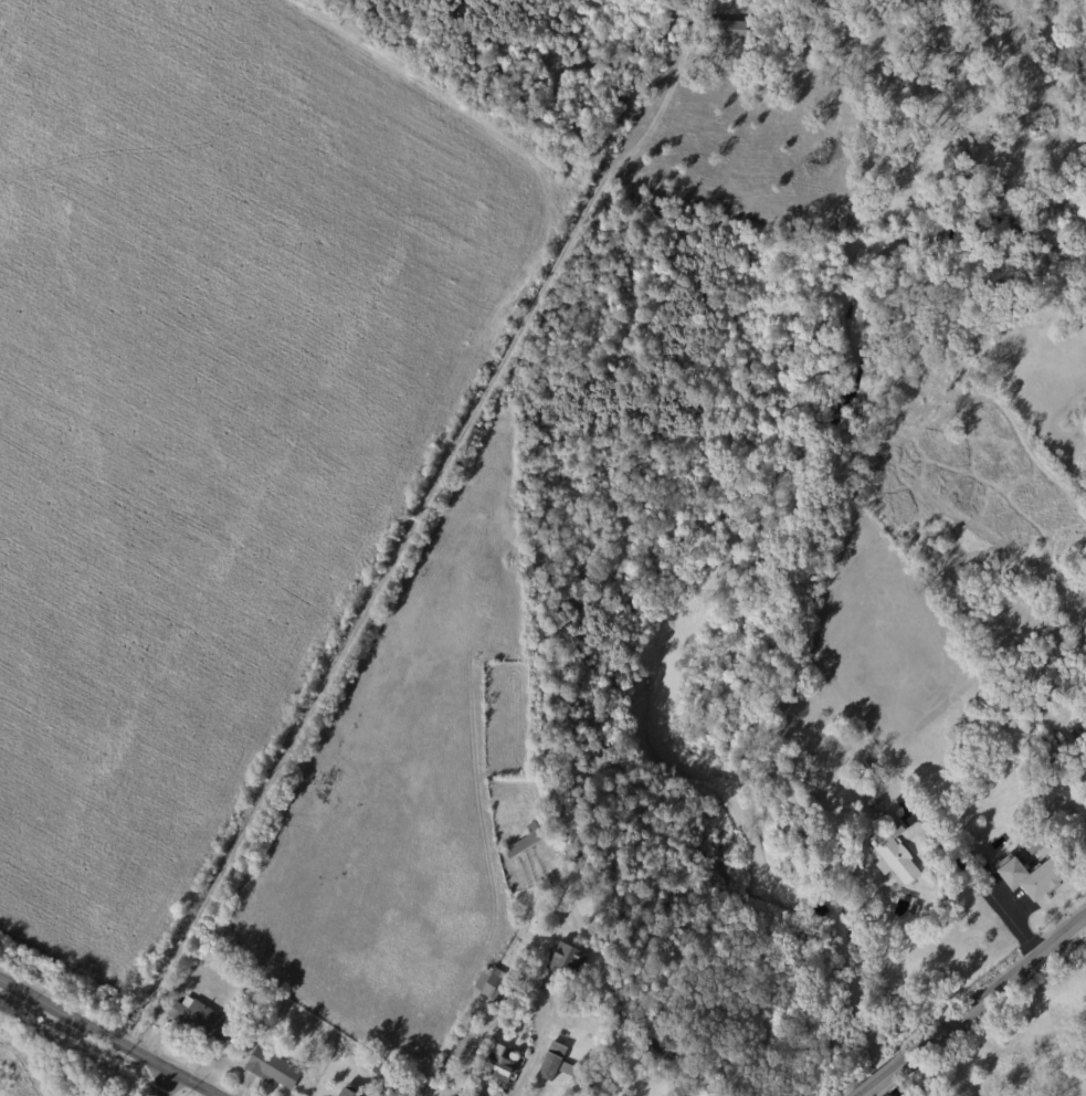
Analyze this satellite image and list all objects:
building: (727, 29)
building: (742, 55)
crop: (205, 402)
building: (1059, 767)
building: (872, 799)
building: (858, 826)
building: (1024, 831)
building: (523, 843)
building: (1034, 843)
building: (893, 854)
building: (862, 856)
building: (1012, 872)
building: (871, 875)
road: (970, 876)
building: (1044, 878)
road: (1046, 902)
road: (1012, 909)
road: (1076, 937)
building: (566, 961)
road: (1000, 984)
building: (492, 986)
building: (268, 1014)
building: (199, 1021)
road: (108, 1035)
road: (540, 1046)
building: (496, 1065)
building: (375, 1067)
building: (561, 1067)
building: (272, 1069)
road: (886, 1075)
building: (1085, 1076)
road: (169, 1083)
building: (391, 1089)
building: (344, 1093)

